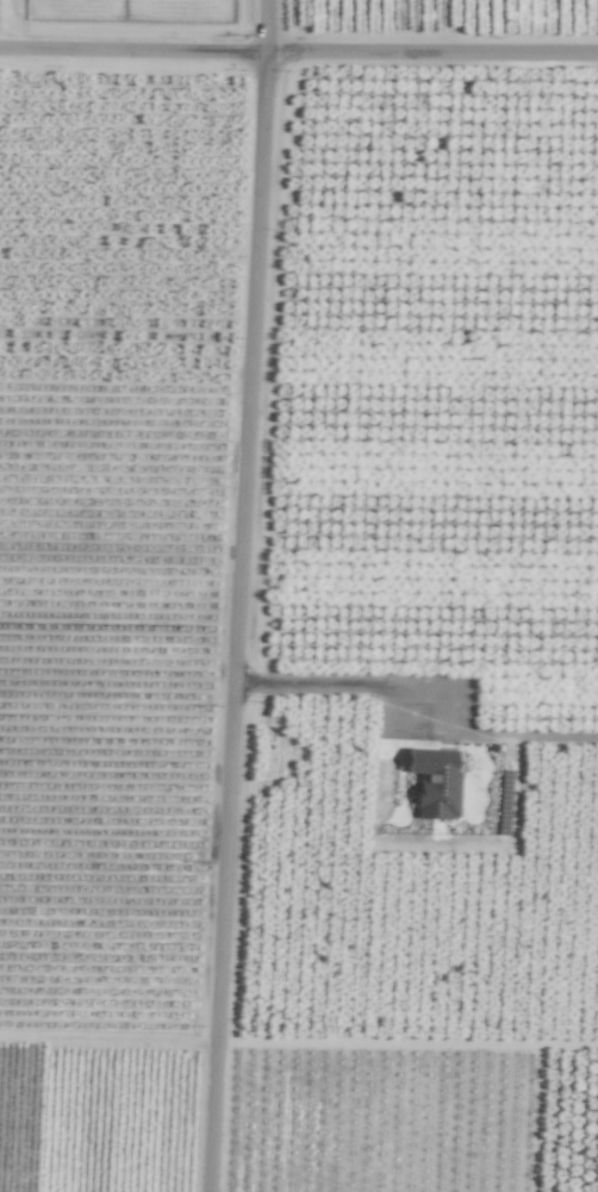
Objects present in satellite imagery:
road: (298, 52)
road: (239, 595)
road: (362, 688)

